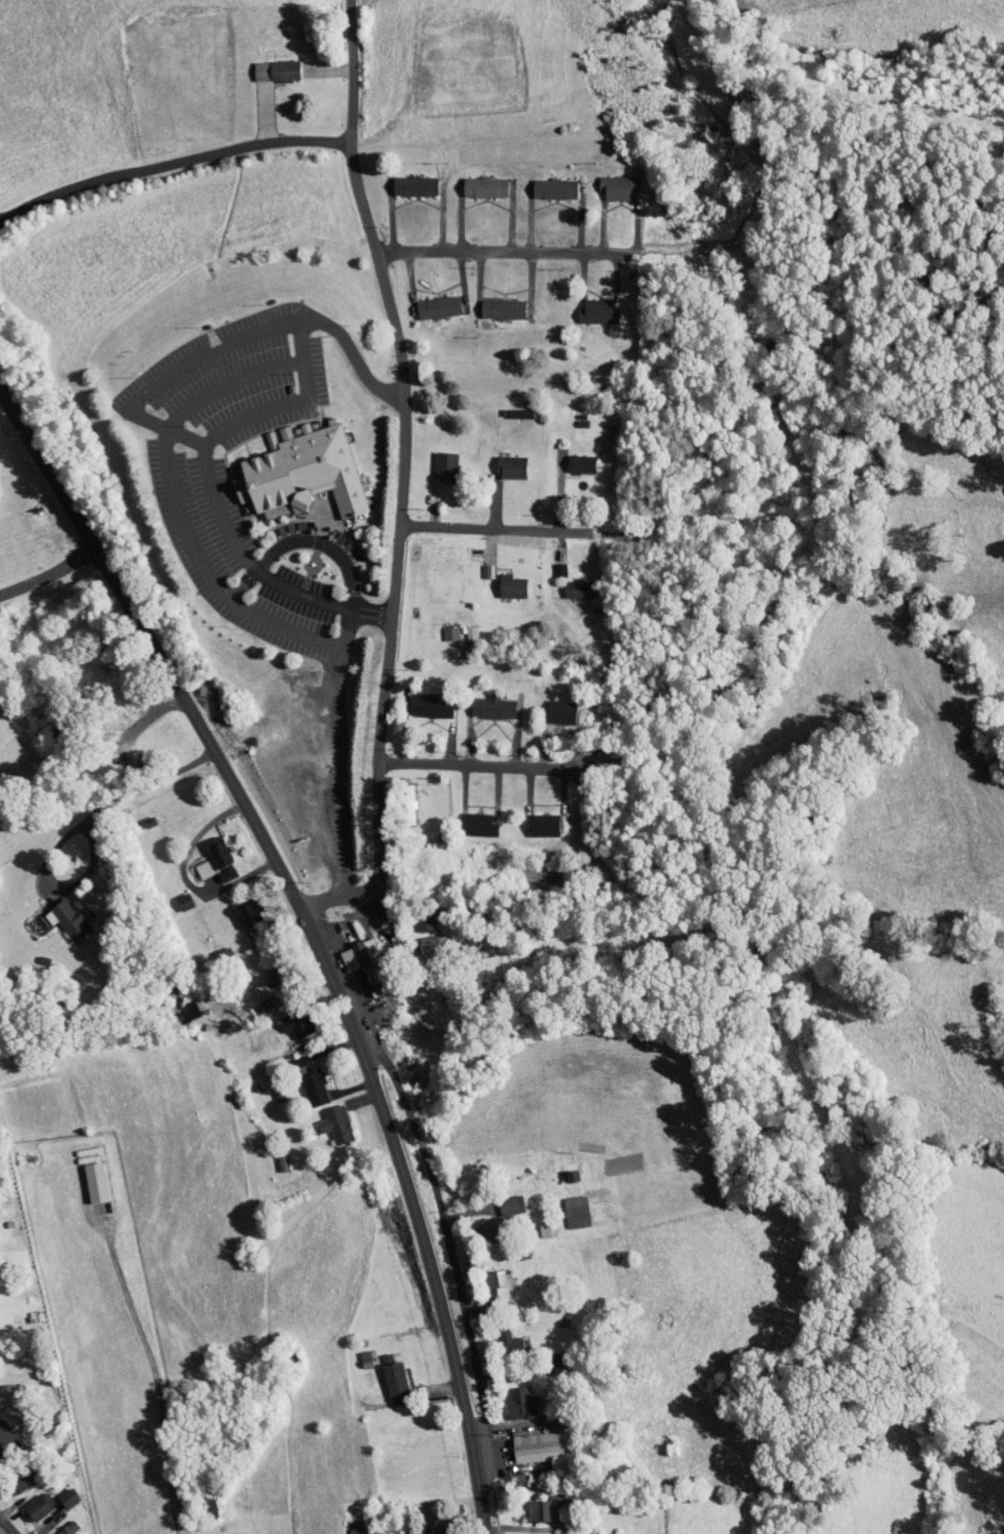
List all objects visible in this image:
building: (265, 64)
road: (171, 163)
building: (403, 180)
building: (473, 181)
building: (607, 181)
building: (543, 183)
road: (573, 254)
building: (427, 301)
building: (491, 303)
building: (586, 306)
road: (315, 339)
road: (269, 366)
road: (198, 437)
building: (570, 458)
building: (434, 461)
building: (500, 462)
building: (290, 467)
parking lot: (201, 469)
road: (402, 489)
road: (510, 525)
road: (334, 544)
building: (548, 564)
building: (476, 565)
road: (48, 572)
building: (501, 581)
building: (567, 583)
road: (230, 586)
building: (439, 627)
building: (419, 699)
building: (481, 700)
building: (550, 705)
road: (504, 766)
building: (468, 817)
building: (533, 818)
road: (73, 828)
building: (210, 853)
building: (193, 863)
building: (173, 895)
building: (235, 905)
building: (56, 912)
building: (413, 915)
road: (310, 932)
building: (420, 939)
building: (356, 958)
building: (250, 984)
building: (285, 1017)
building: (299, 1075)
building: (325, 1117)
building: (271, 1155)
building: (84, 1175)
building: (499, 1199)
building: (565, 1205)
building: (476, 1224)
road: (446, 1251)
building: (486, 1276)
building: (498, 1337)
building: (384, 1374)
building: (509, 1397)
building: (2, 1429)
building: (530, 1440)
building: (10, 1474)
building: (543, 1490)
building: (57, 1492)
building: (26, 1501)
building: (198, 1502)
building: (528, 1504)
building: (55, 1526)
road: (4, 1529)
building: (535, 1533)

